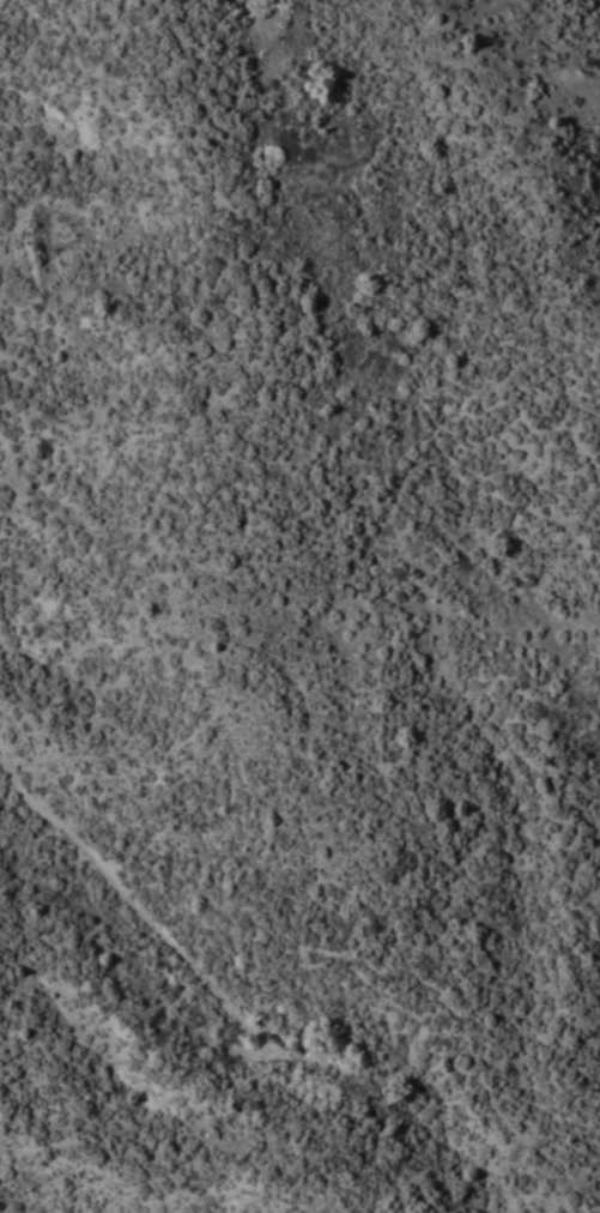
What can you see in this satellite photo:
road: (2, 4)
road: (108, 875)

